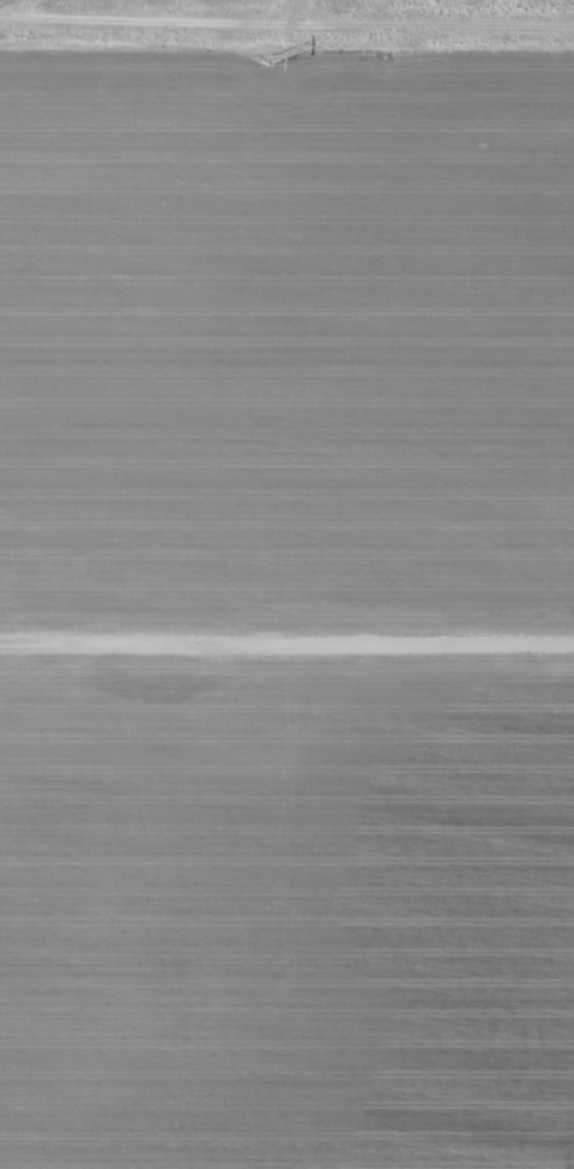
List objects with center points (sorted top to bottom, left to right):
road: (303, 4)
road: (155, 22)
power tower: (267, 64)
wind turbine: (175, 674)

